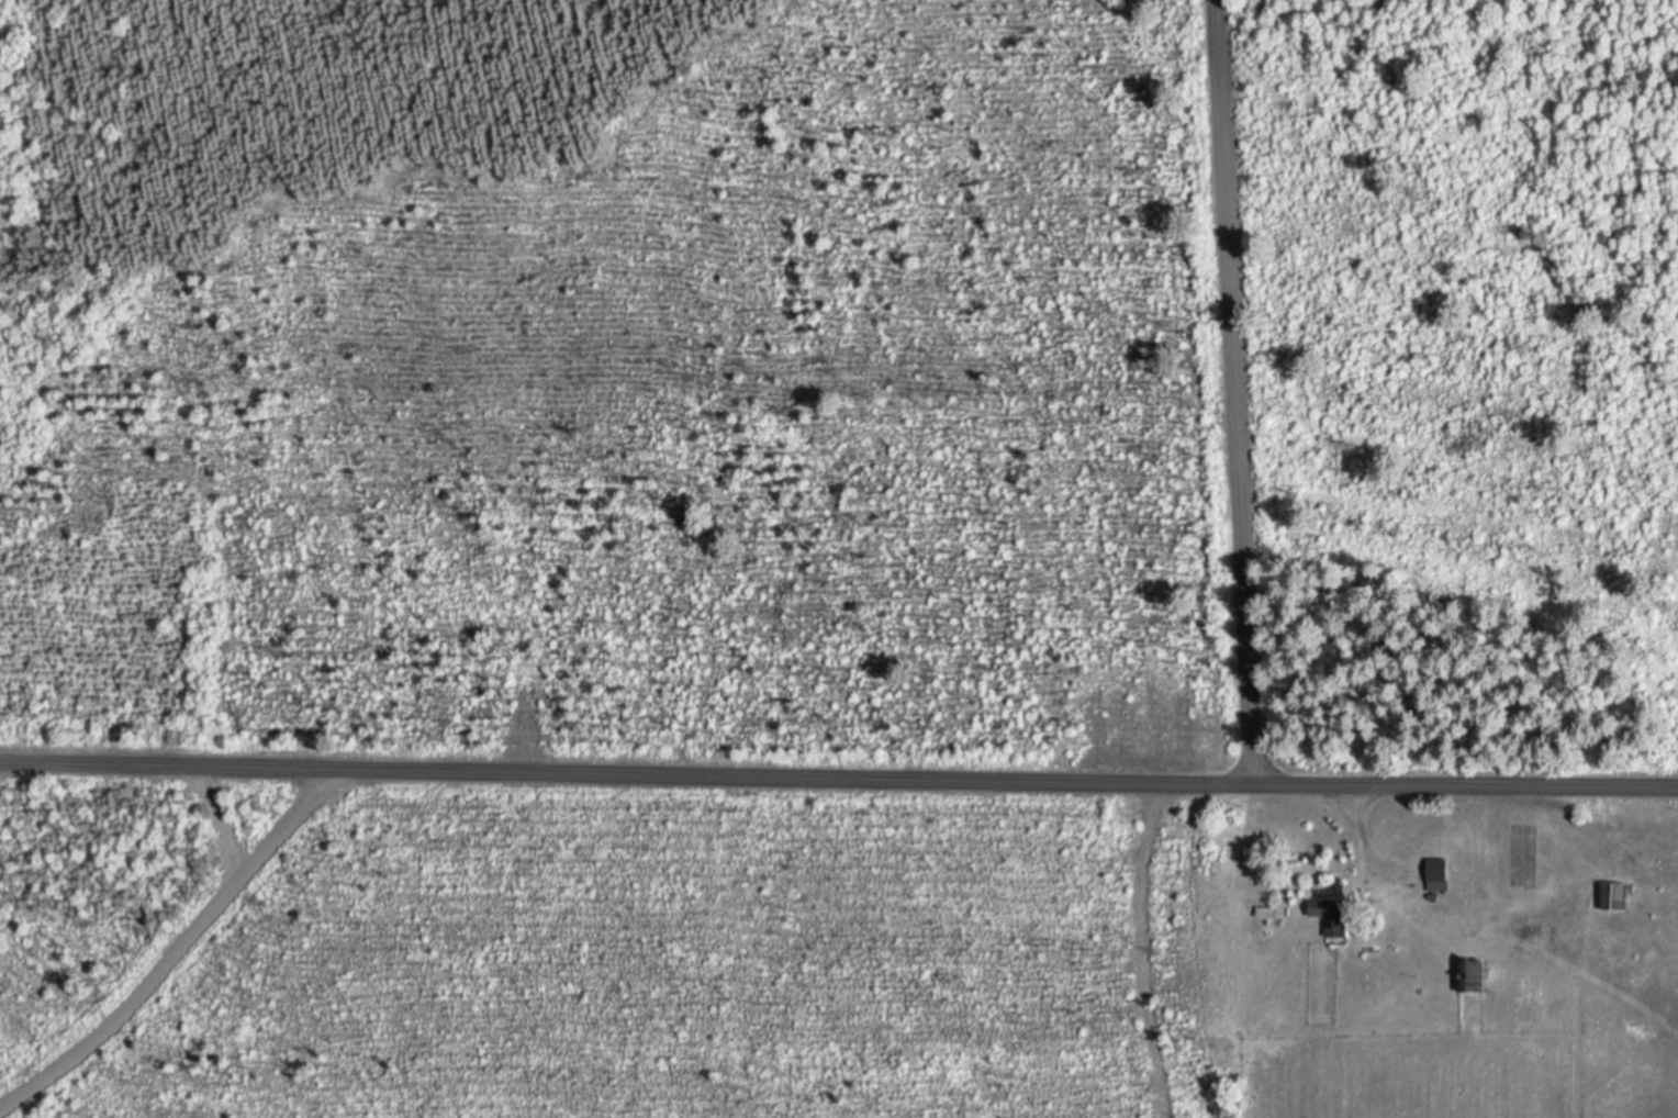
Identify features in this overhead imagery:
road: (1233, 394)
road: (838, 784)
building: (1441, 877)
building: (1619, 901)
building: (1332, 918)
road: (176, 954)
building: (1474, 979)

